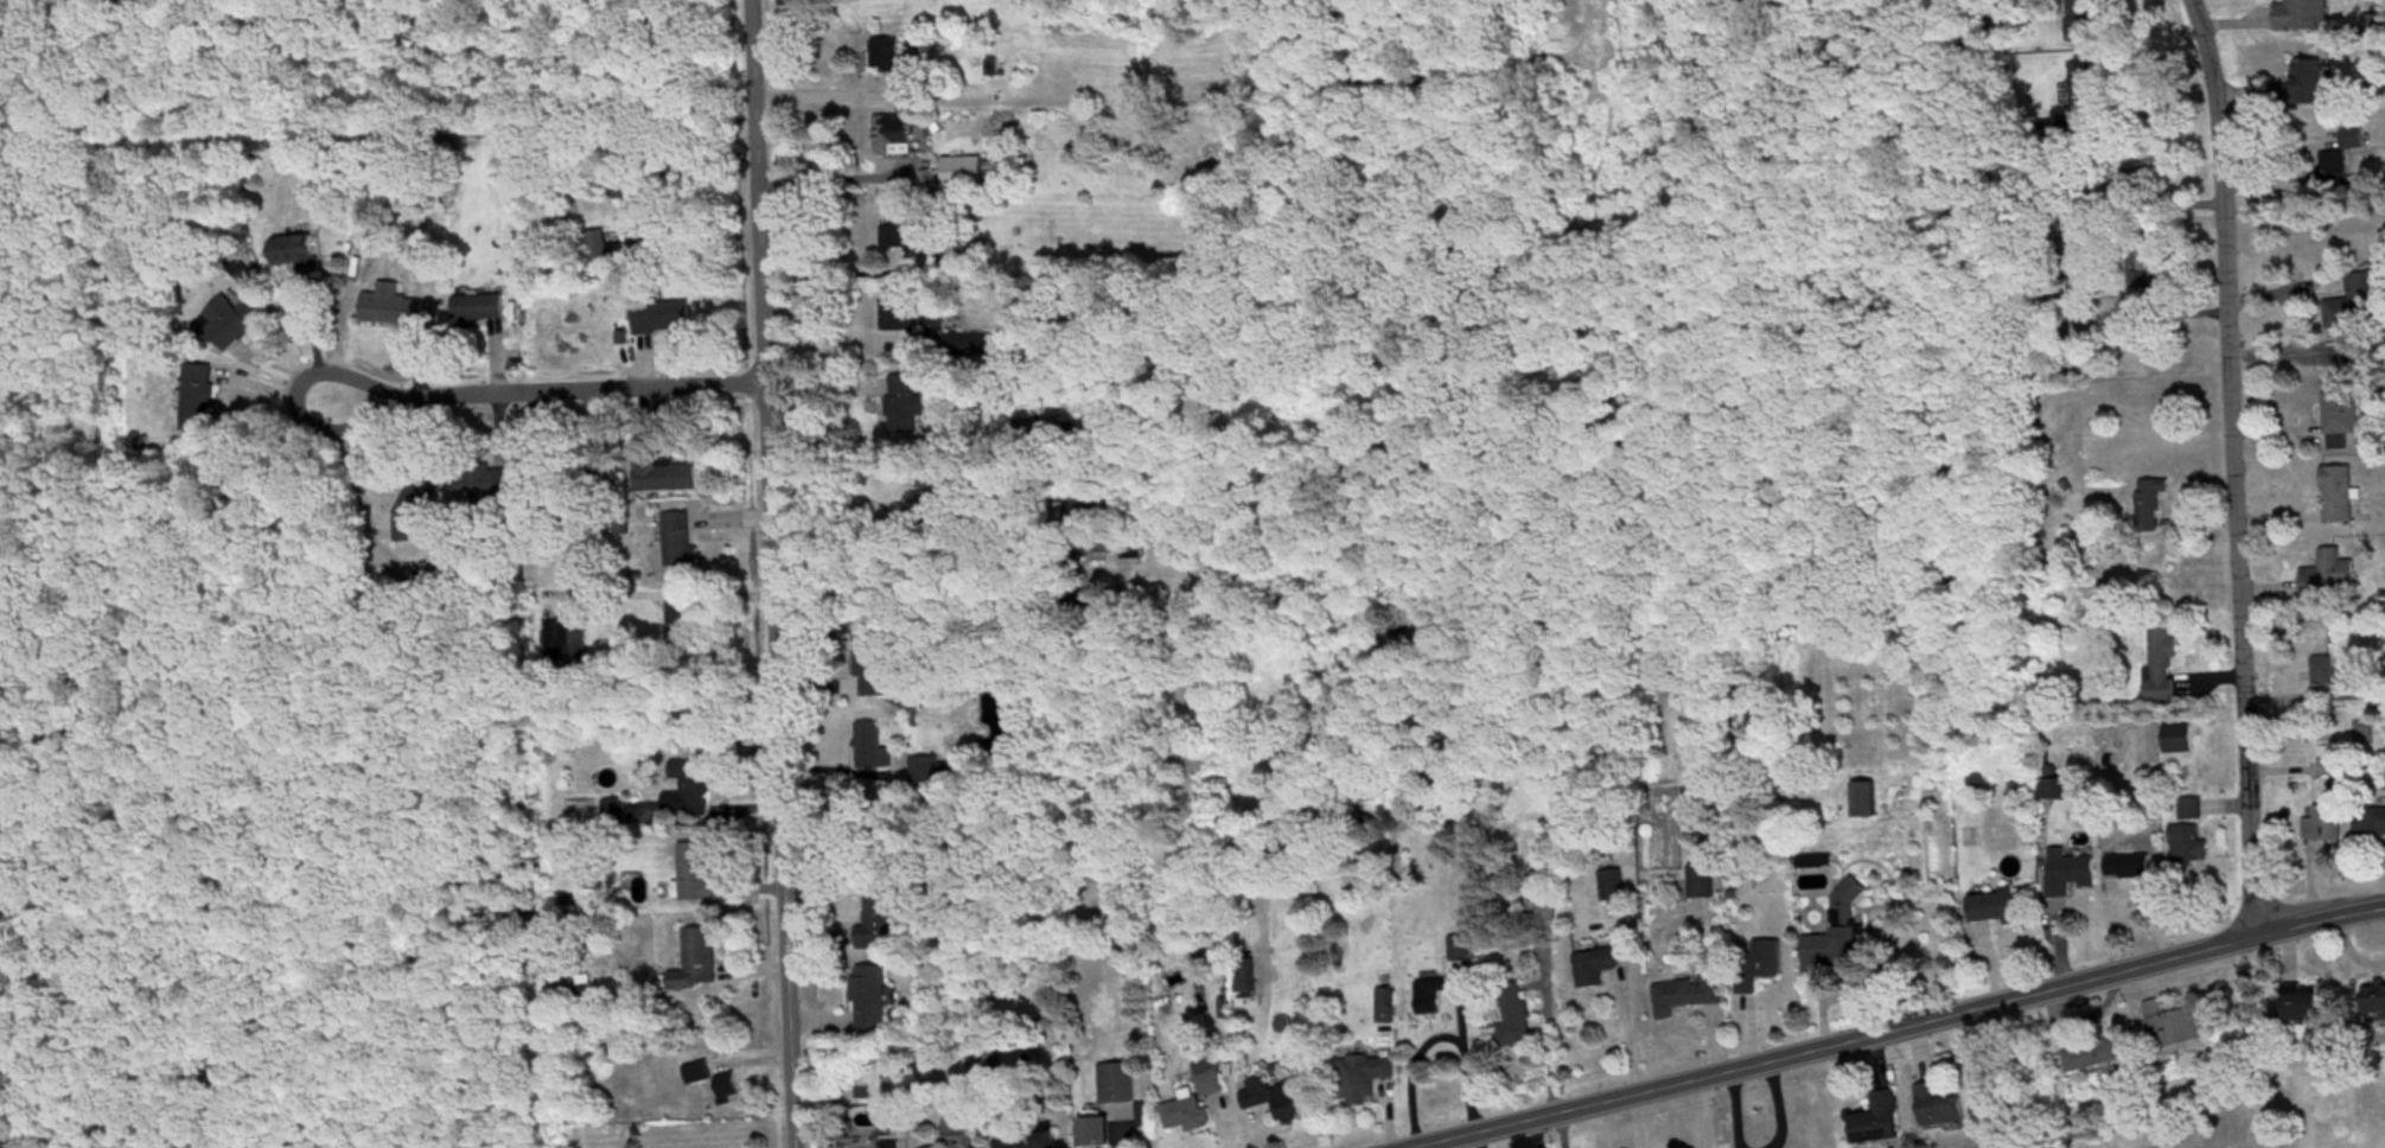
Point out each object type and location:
building: (2303, 17)
building: (2083, 21)
building: (887, 58)
building: (1026, 70)
building: (2304, 88)
building: (2086, 97)
building: (894, 138)
building: (2354, 141)
building: (2335, 168)
building: (964, 173)
building: (2141, 183)
building: (904, 242)
building: (597, 253)
building: (294, 255)
building: (2144, 268)
building: (2359, 306)
building: (391, 308)
building: (478, 308)
building: (911, 313)
building: (662, 319)
building: (229, 324)
building: (978, 346)
road: (540, 377)
building: (198, 400)
building: (905, 408)
building: (2342, 419)
building: (1026, 432)
road: (352, 461)
road: (2232, 466)
building: (665, 478)
building: (497, 485)
building: (2339, 497)
building: (933, 502)
building: (2151, 506)
building: (1091, 511)
building: (680, 543)
building: (1168, 548)
road: (769, 574)
building: (2330, 579)
building: (687, 621)
building: (567, 642)
building: (2162, 667)
building: (869, 668)
building: (2335, 685)
building: (2180, 740)
building: (872, 747)
building: (930, 771)
building: (691, 791)
building: (2053, 791)
building: (1866, 802)
building: (616, 811)
building: (2371, 823)
building: (2325, 825)
building: (2189, 846)
building: (1817, 863)
building: (2131, 865)
building: (2071, 874)
building: (699, 878)
building: (1703, 884)
building: (1614, 887)
building: (1543, 898)
building: (1995, 908)
building: (879, 917)
building: (1842, 932)
building: (1461, 950)
building: (700, 959)
building: (1761, 965)
building: (1596, 969)
building: (1248, 977)
building: (1433, 997)
building: (1688, 997)
building: (872, 1000)
building: (2376, 1001)
building: (2296, 1004)
building: (1514, 1020)
road: (1902, 1027)
building: (2174, 1027)
building: (2093, 1057)
building: (699, 1074)
building: (1366, 1079)
building: (1209, 1080)
building: (1118, 1086)
building: (9, 1089)
building: (728, 1089)
building: (1283, 1098)
building: (1941, 1112)
building: (1187, 1117)
building: (1879, 1122)
building: (863, 1128)
building: (1097, 1134)
building: (1027, 1140)
building: (13, 1141)
building: (891, 1147)
building: (969, 1147)

